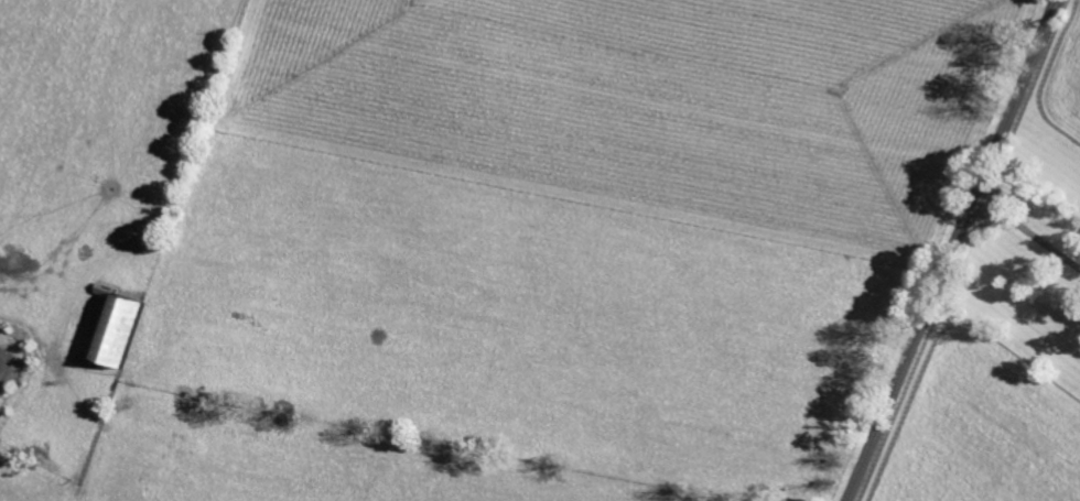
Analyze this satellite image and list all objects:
road: (1028, 231)
road: (953, 250)

